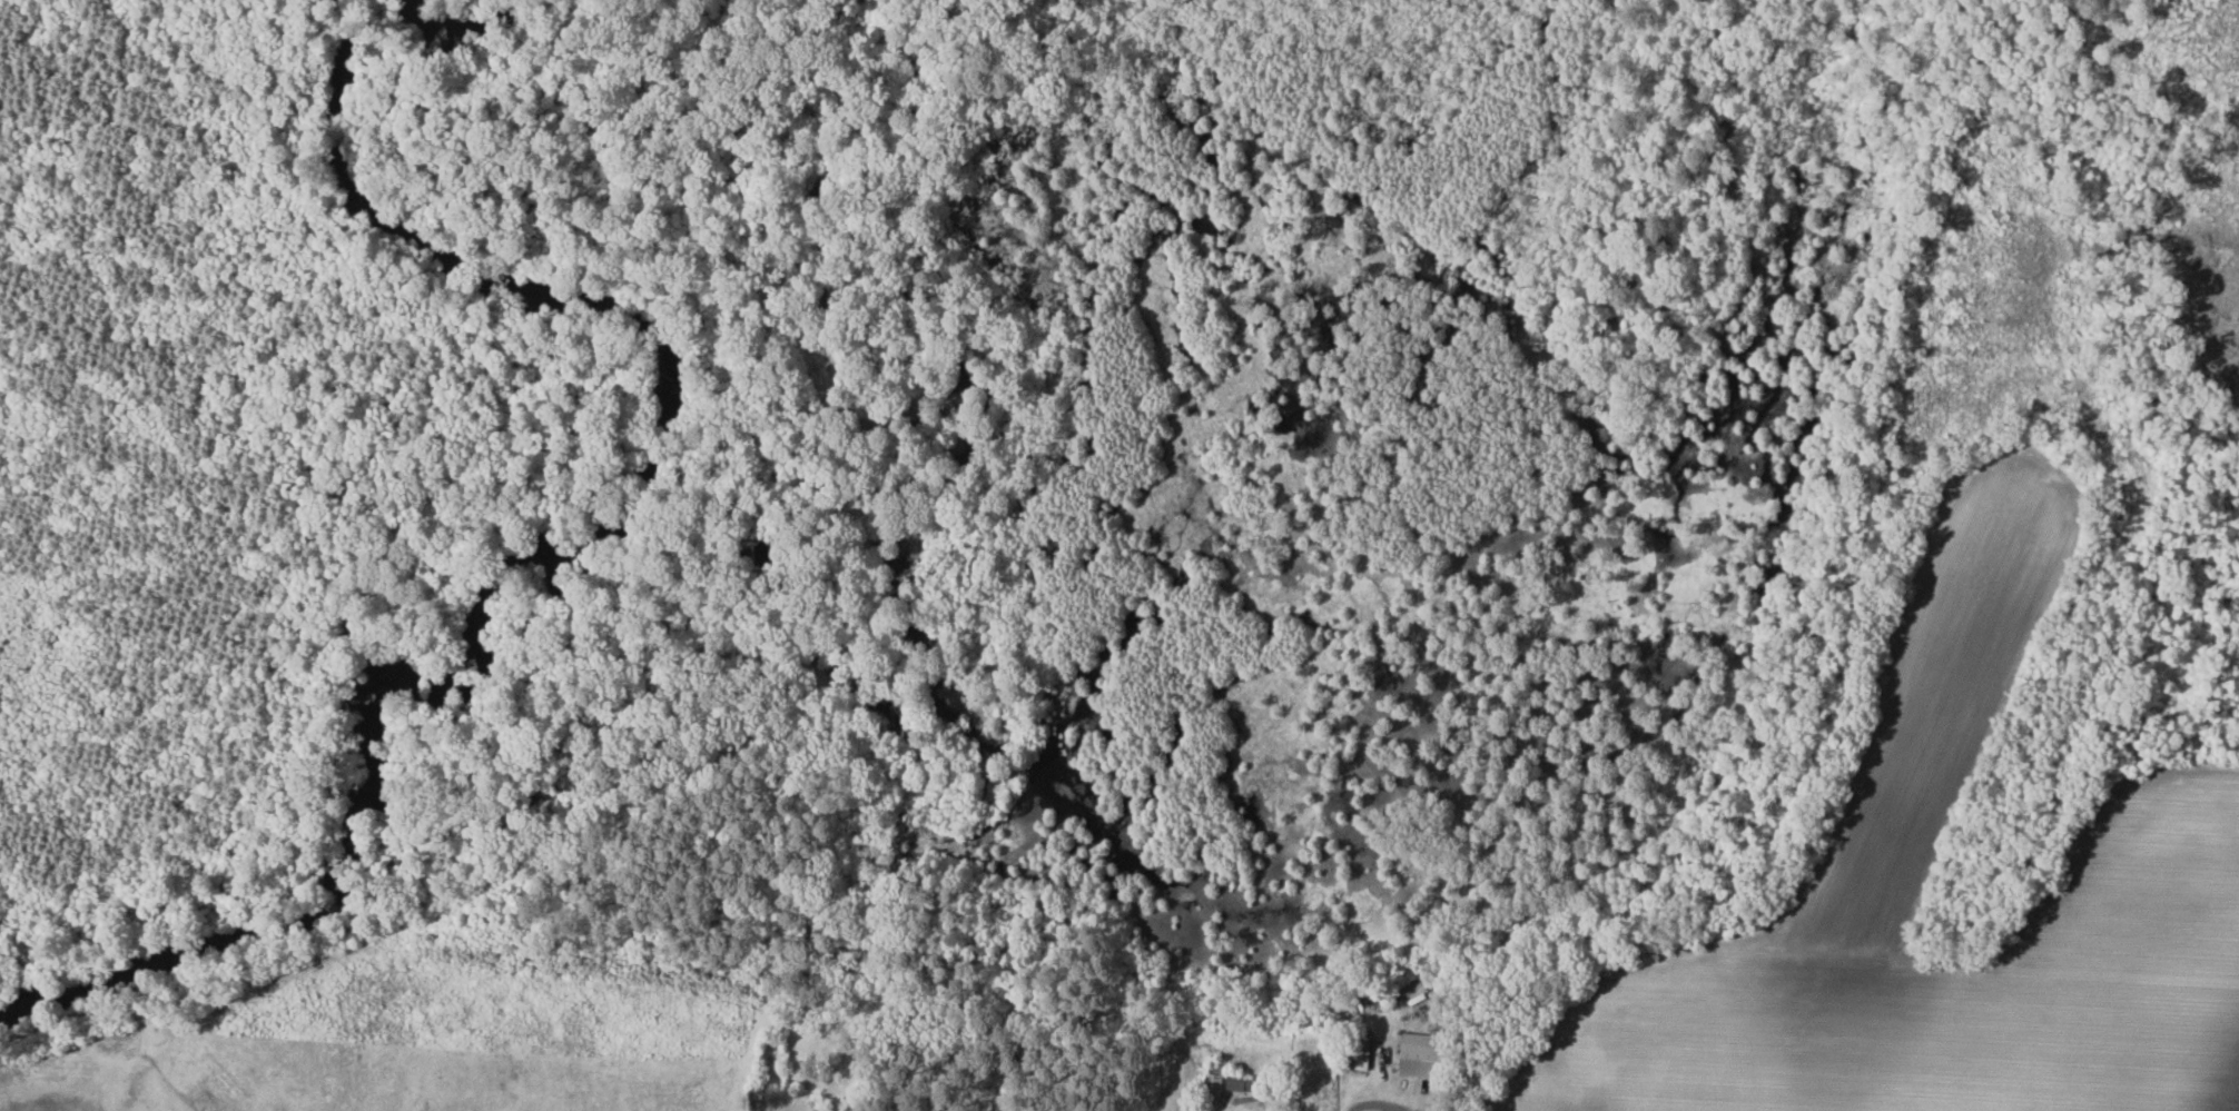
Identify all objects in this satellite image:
building: (1416, 1054)
building: (1235, 1083)
road: (1377, 1105)
road: (1237, 1110)
road: (1243, 1110)

